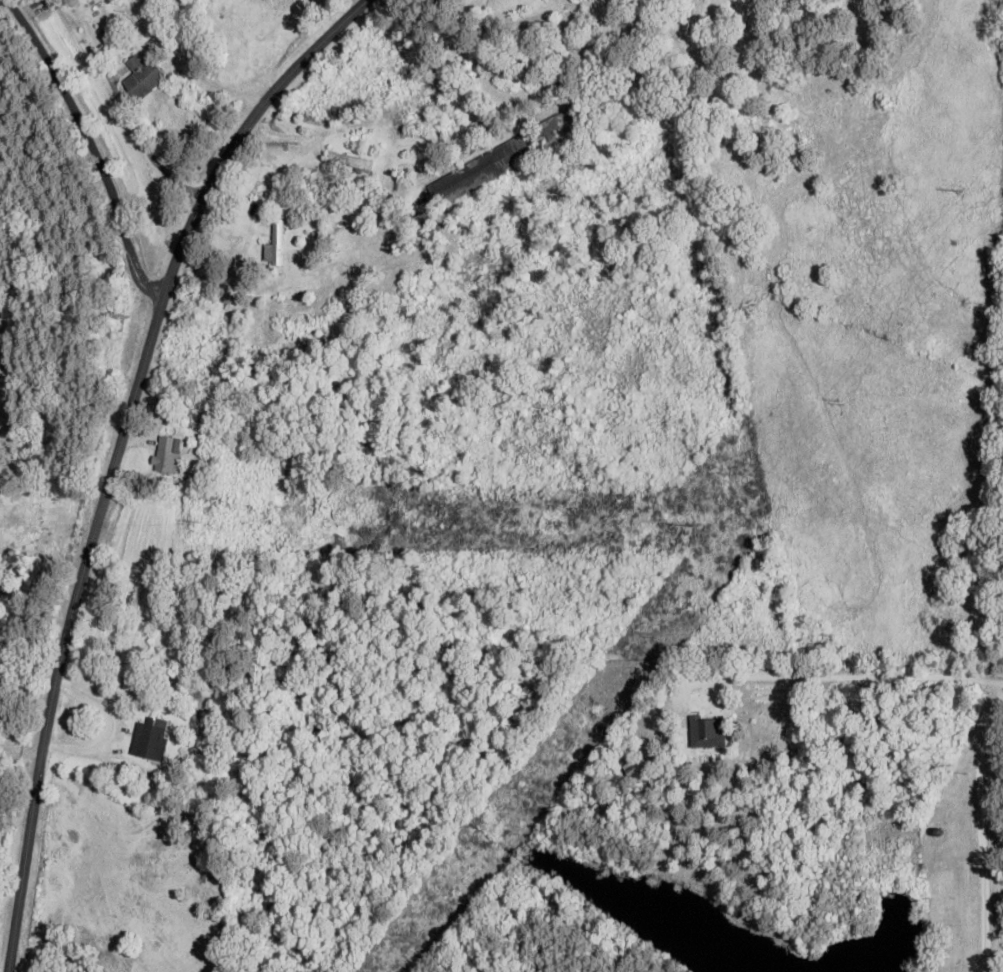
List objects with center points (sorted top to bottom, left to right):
building: (571, 52)
building: (144, 78)
road: (286, 126)
road: (92, 145)
building: (503, 158)
building: (351, 162)
building: (275, 246)
building: (113, 324)
road: (118, 454)
building: (169, 455)
building: (150, 739)
road: (981, 832)

